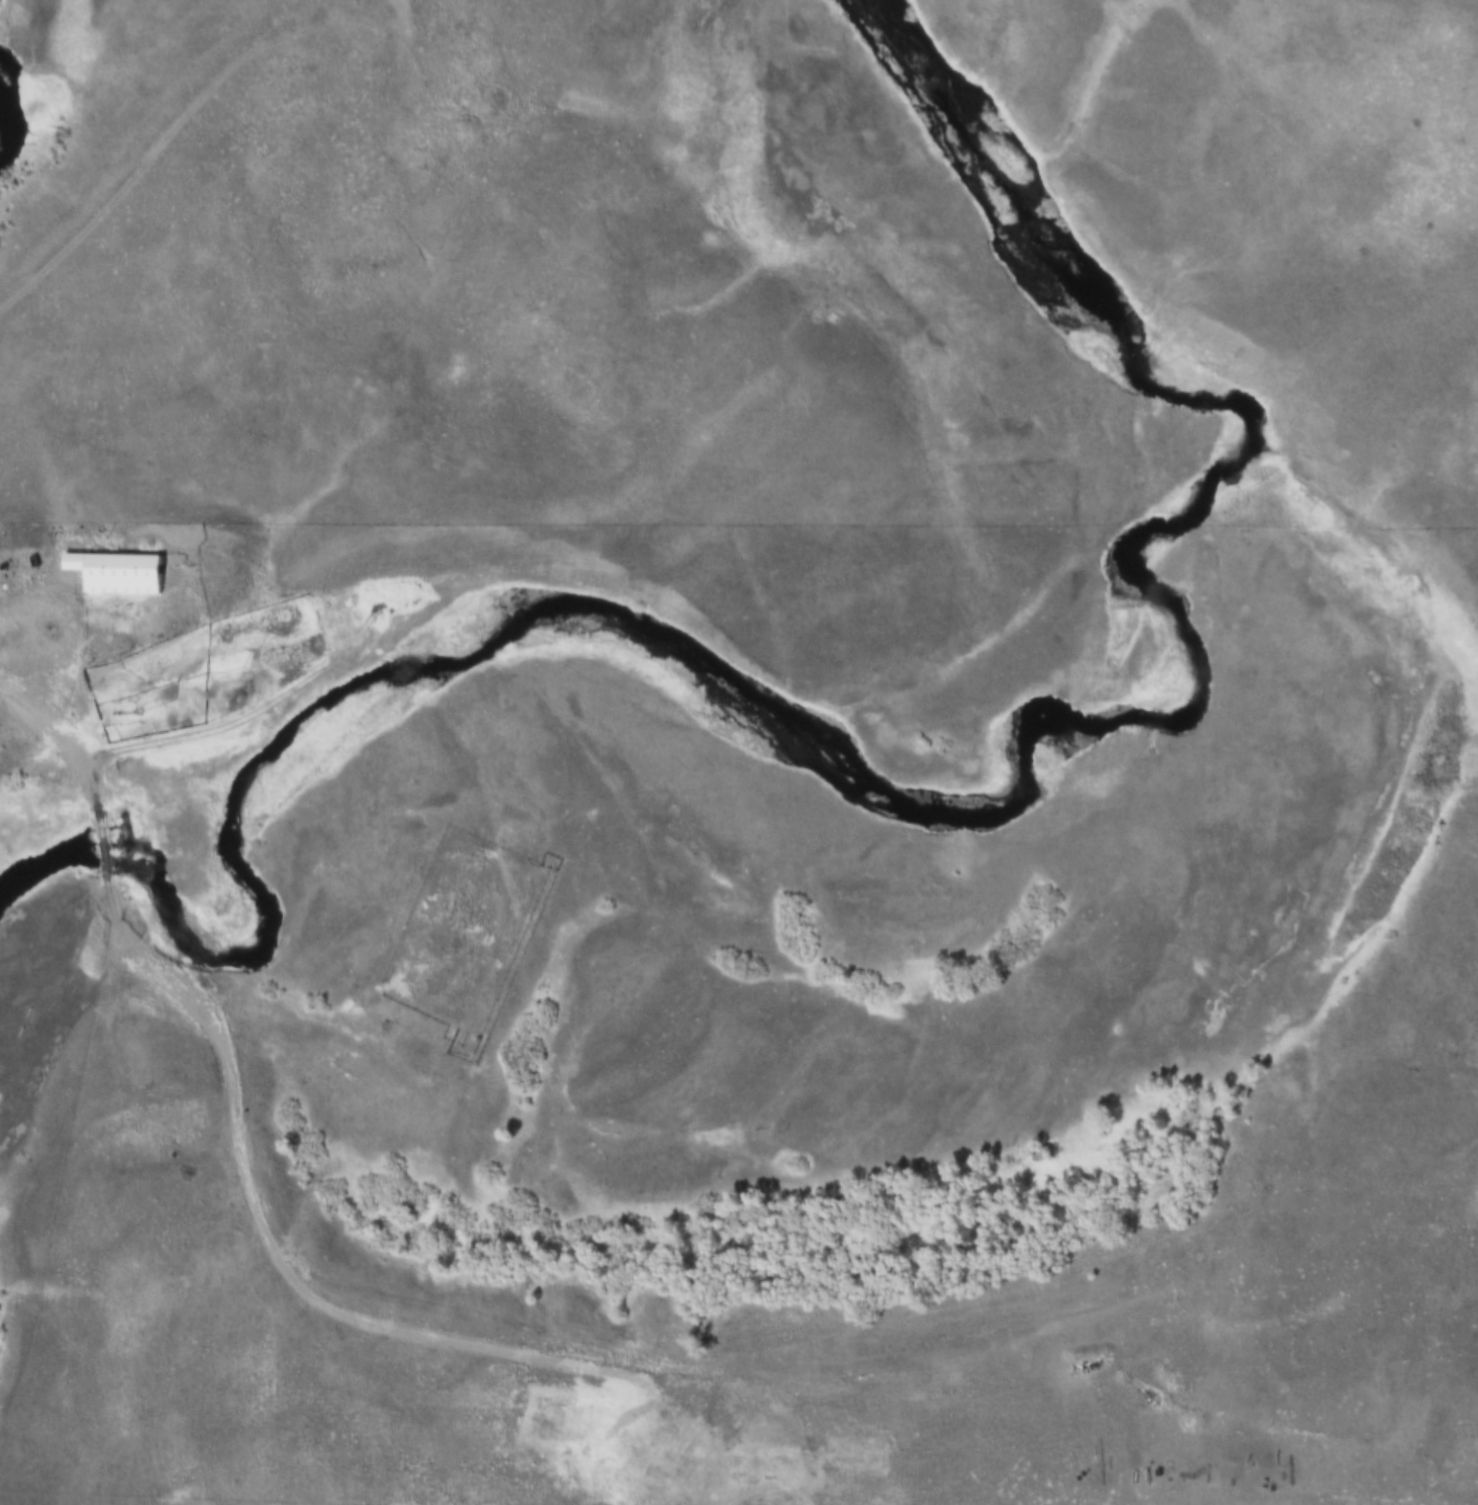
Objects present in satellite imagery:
road: (151, 161)
building: (22, 560)
silo: (22, 560)
building: (116, 565)
road: (36, 717)
road: (280, 1259)

